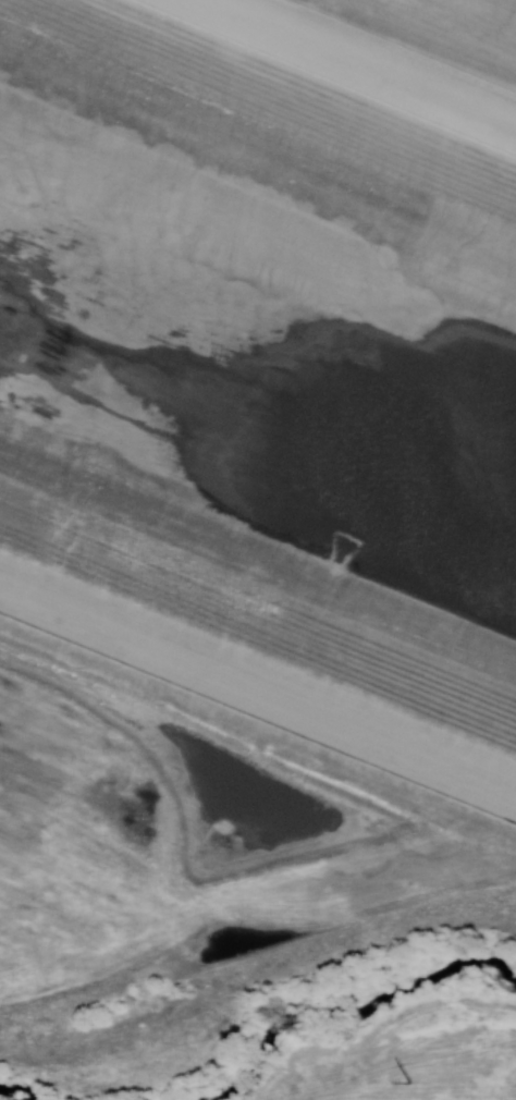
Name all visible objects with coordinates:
track: (269, 383)
power tower: (410, 1083)

